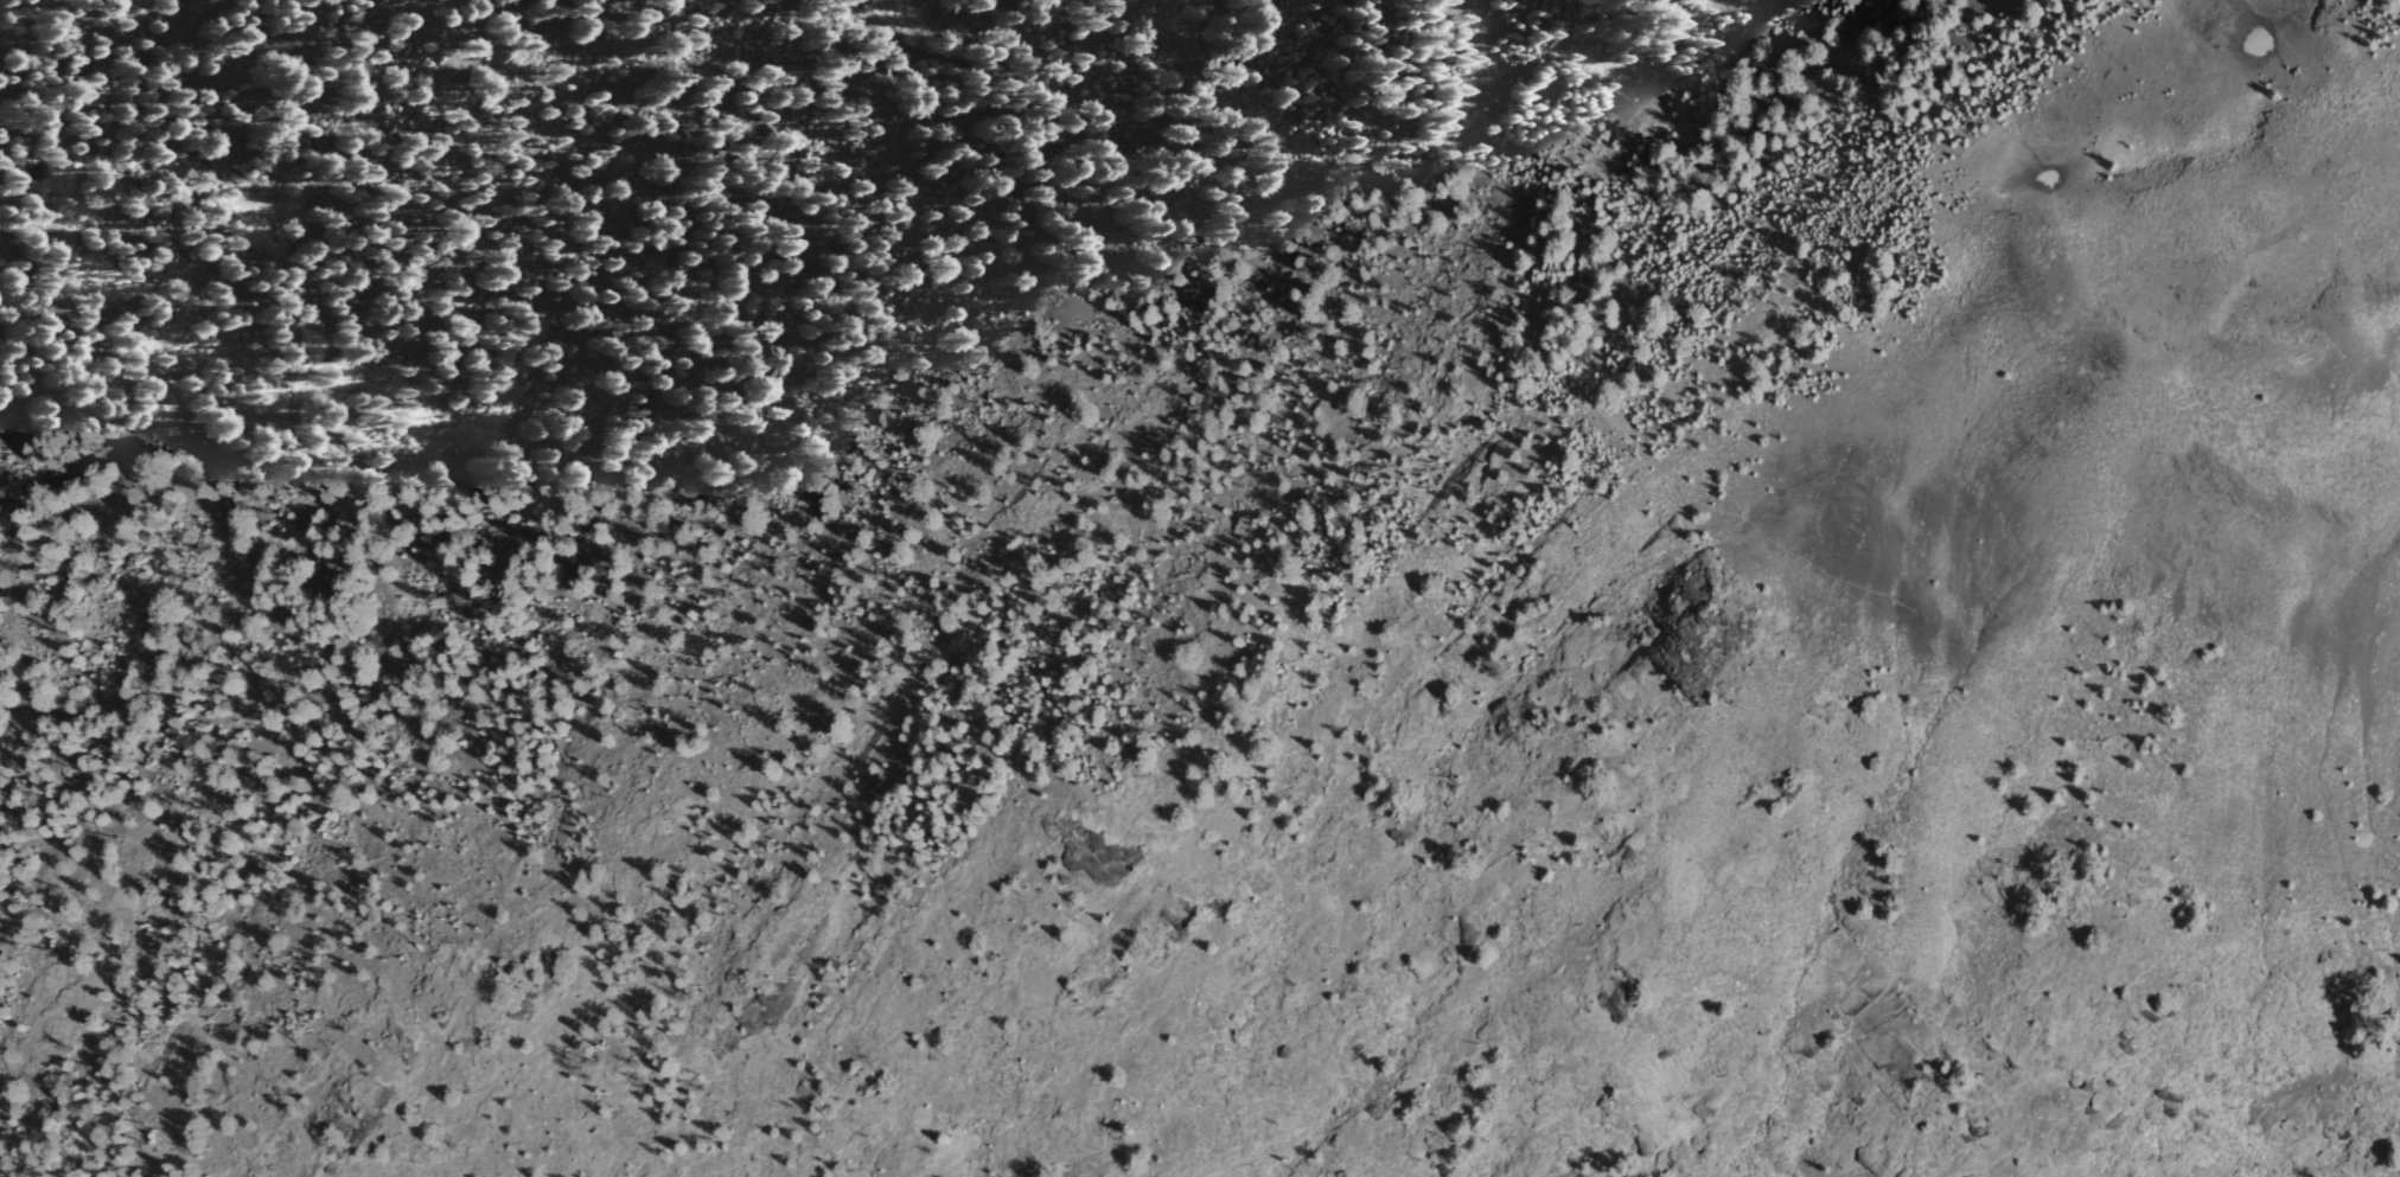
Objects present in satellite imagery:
road: (1123, 231)
road: (1897, 600)

